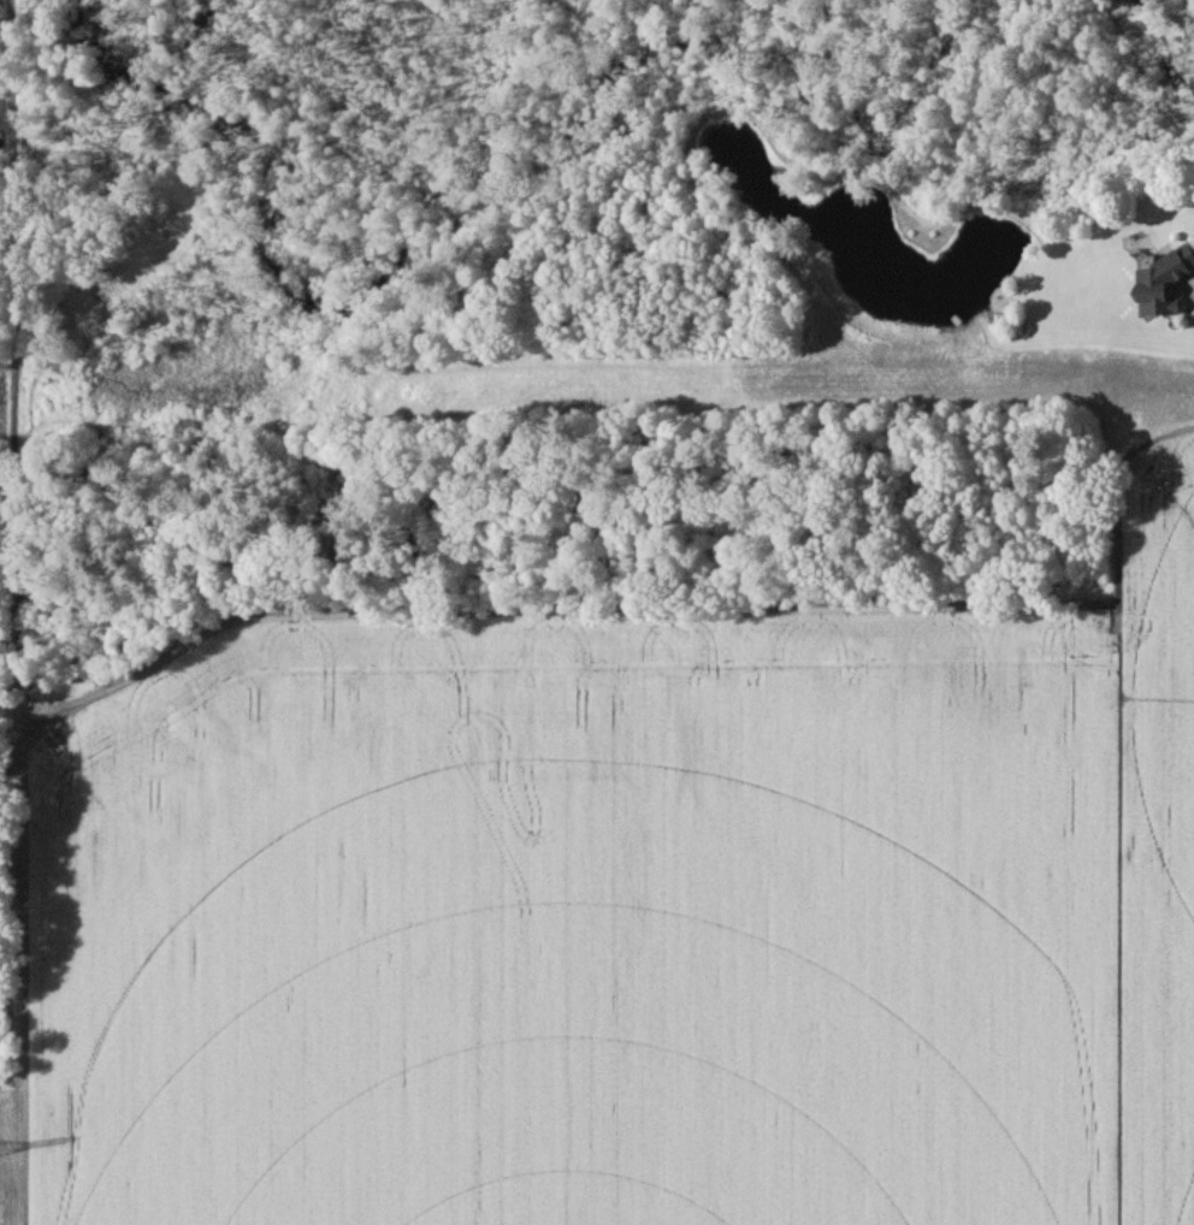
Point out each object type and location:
building: (1163, 288)

